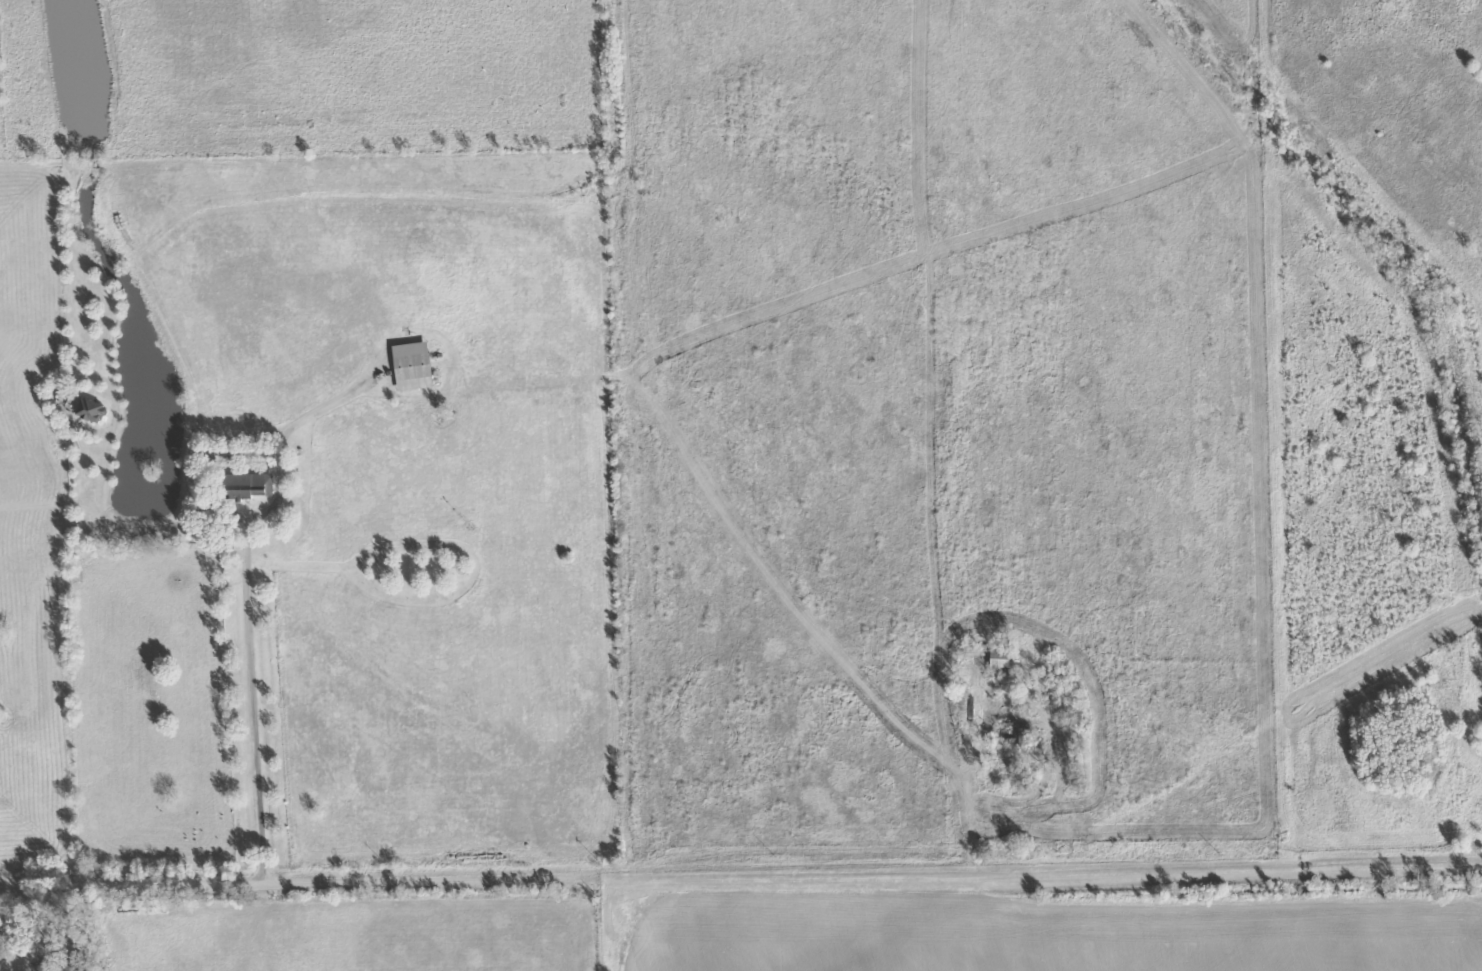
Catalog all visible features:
building: (415, 366)
building: (93, 410)
road: (277, 457)
building: (254, 485)
road: (256, 699)
road: (973, 822)
road: (741, 872)

